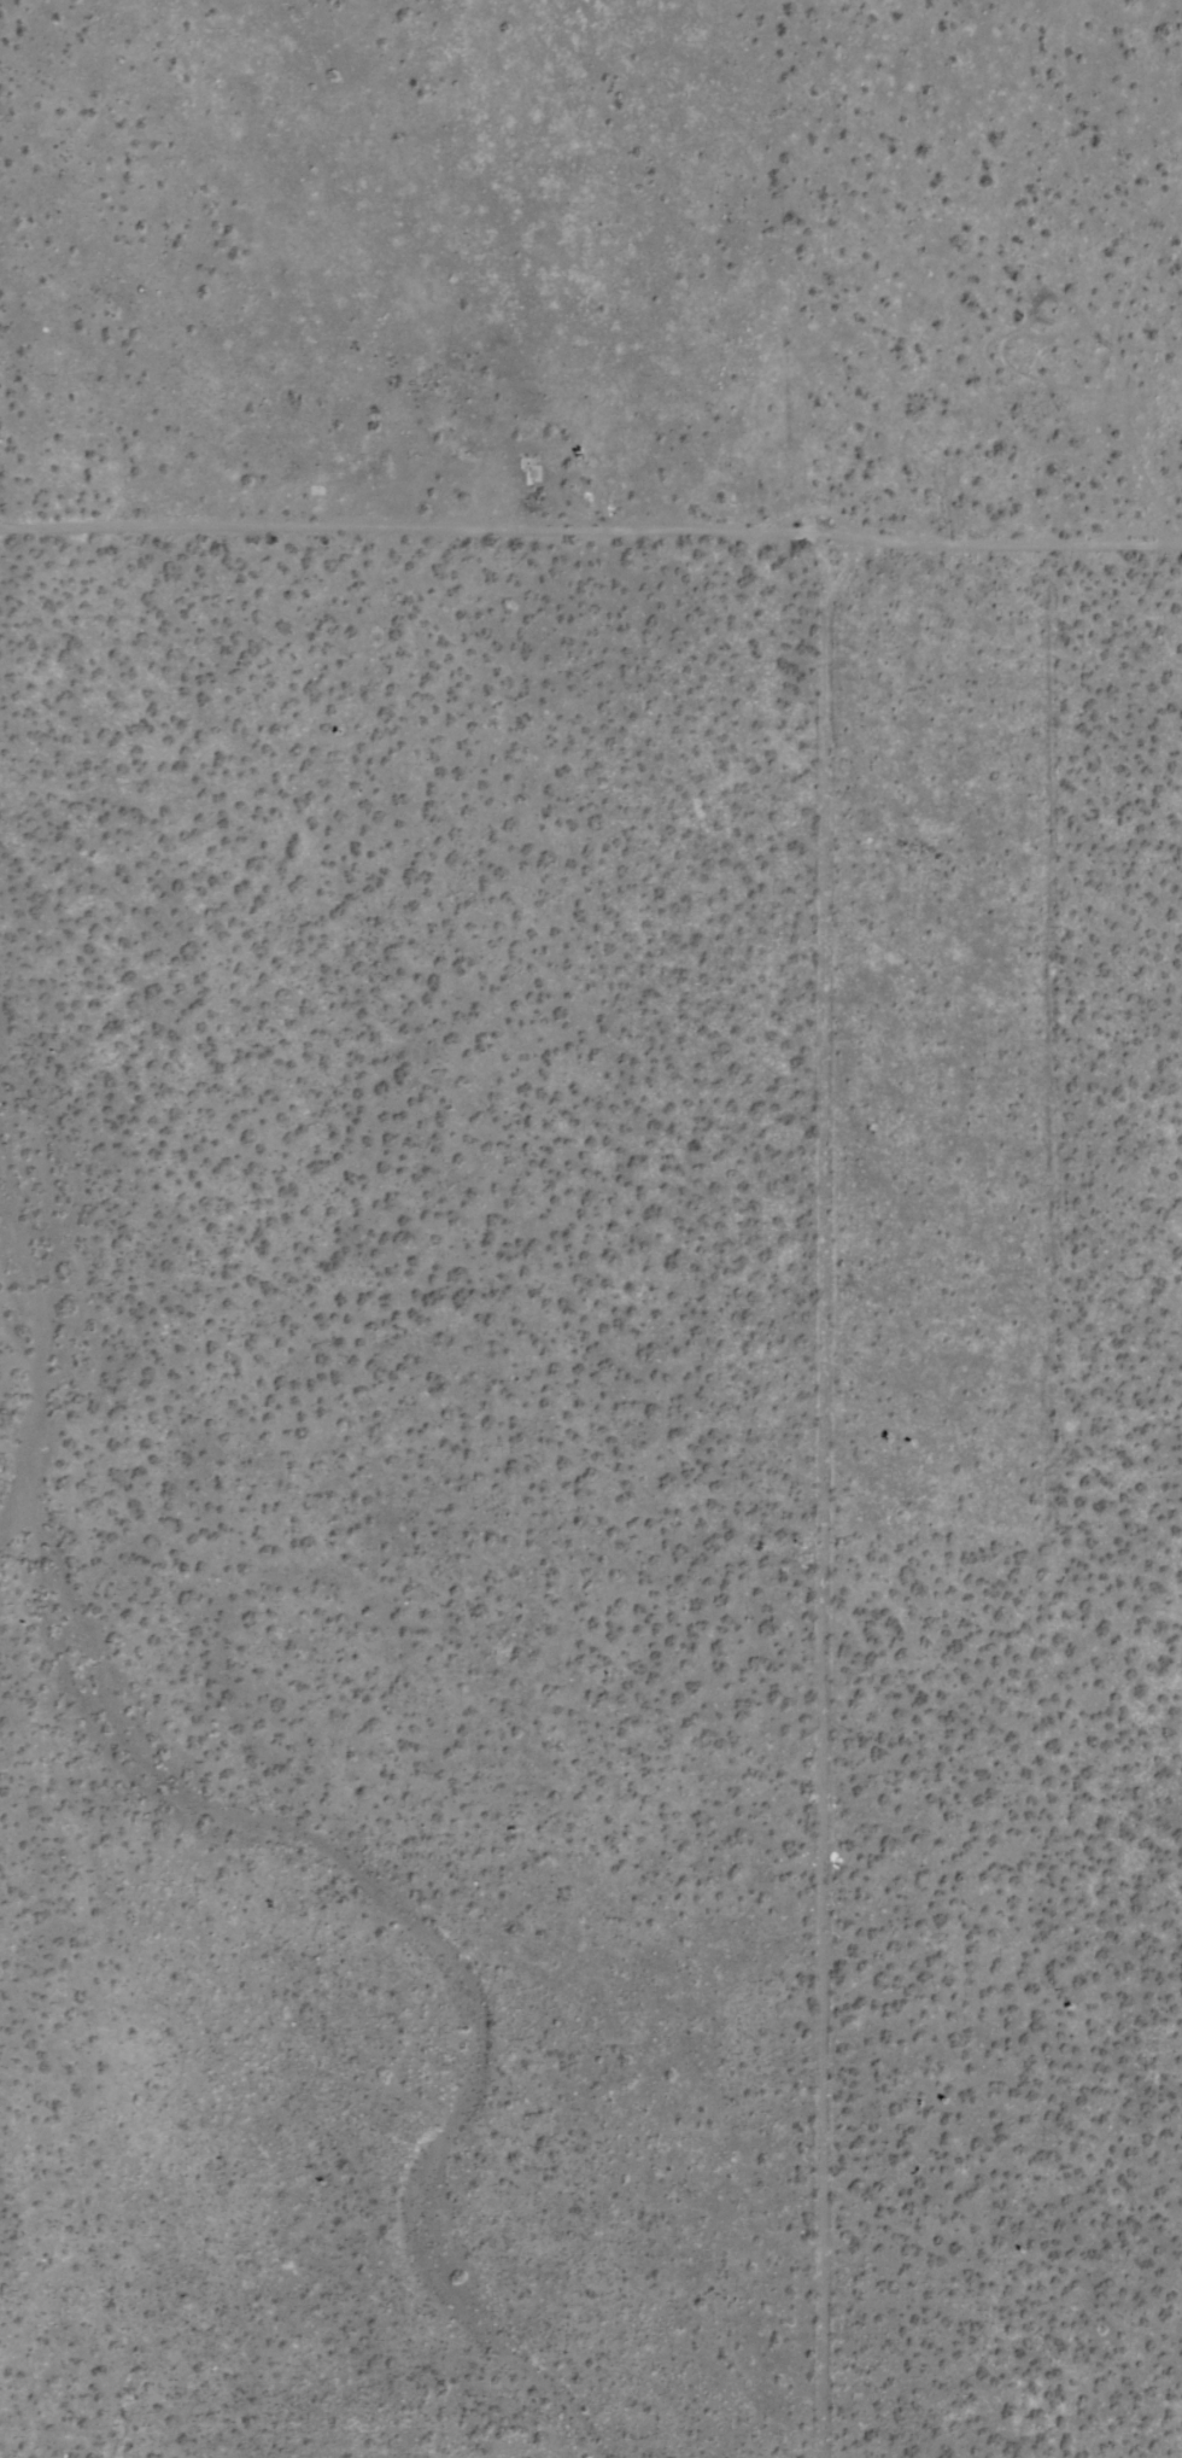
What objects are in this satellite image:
road: (590, 526)

